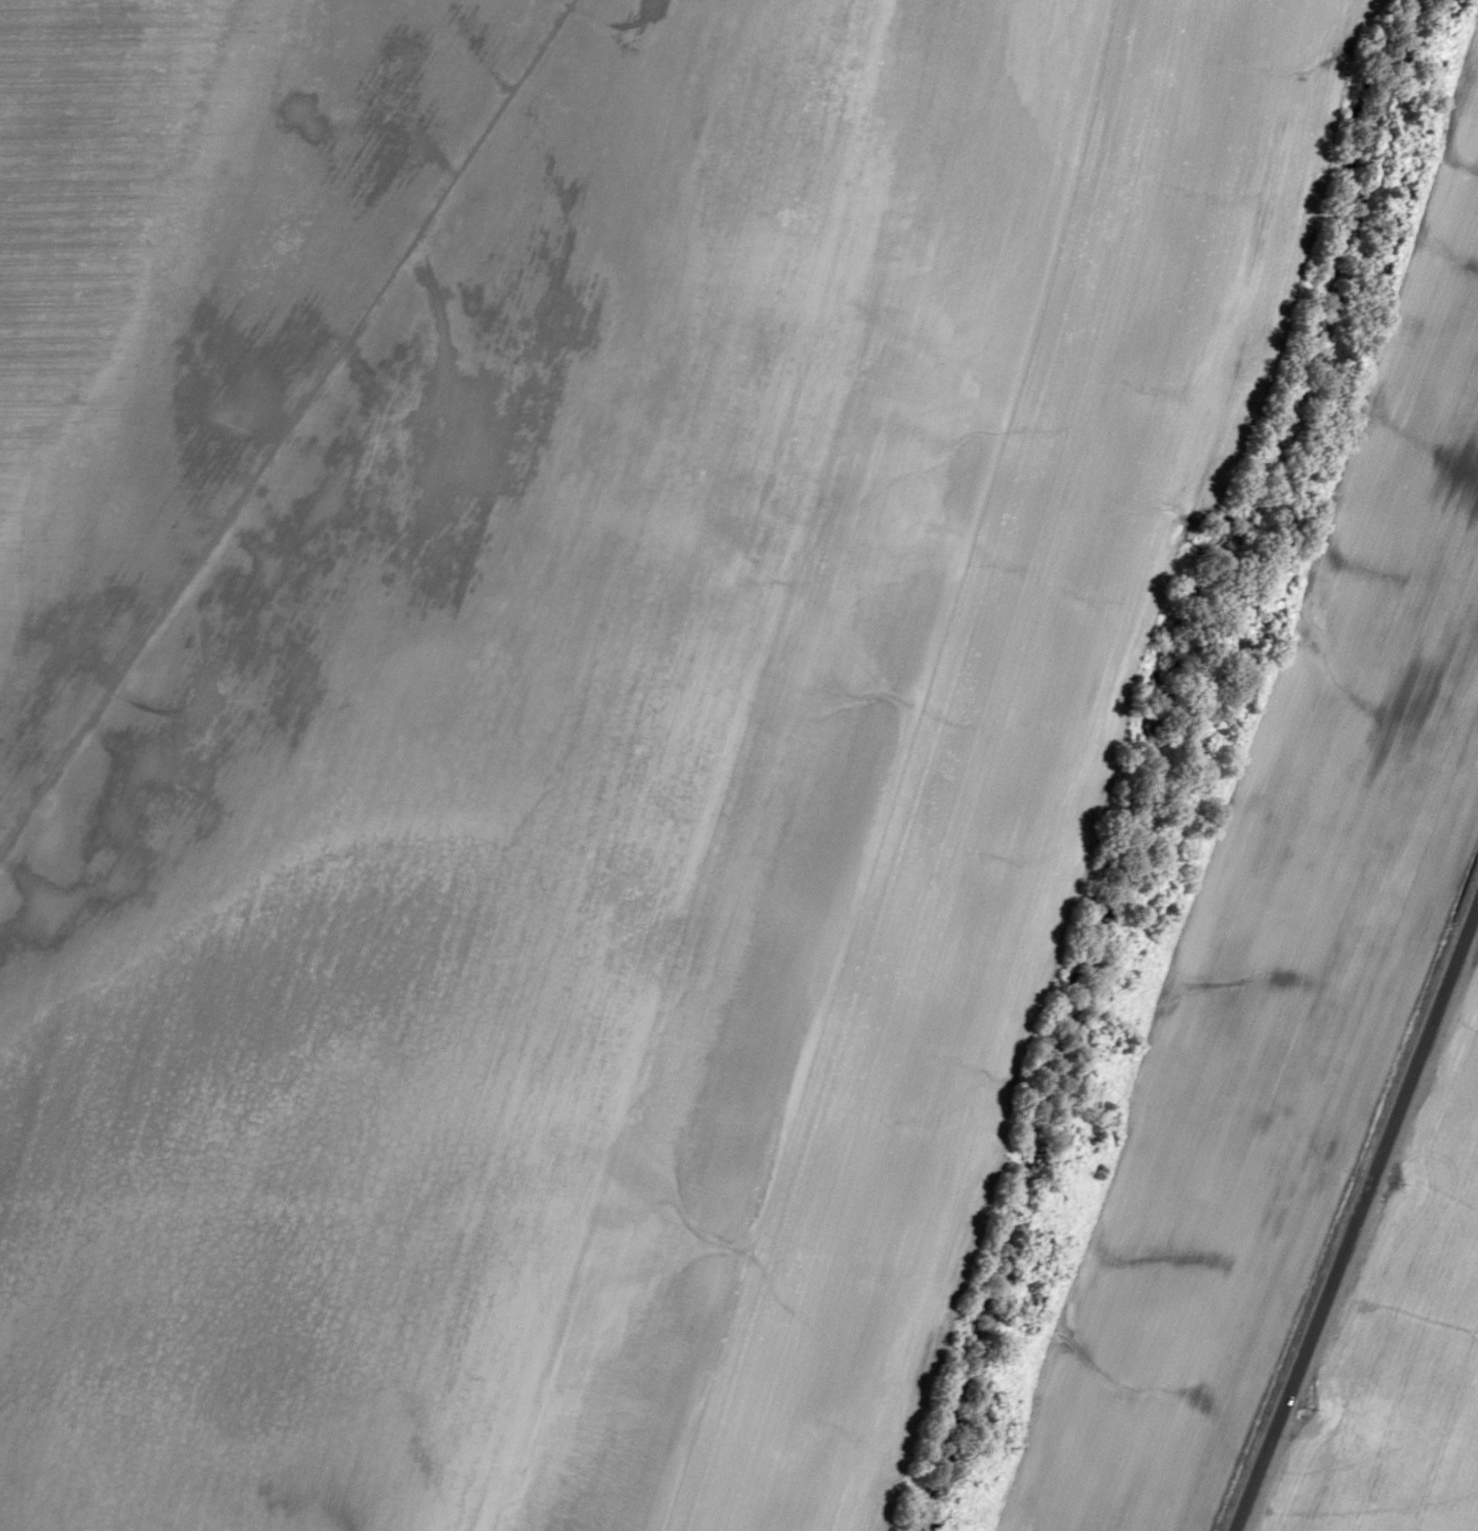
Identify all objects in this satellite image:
road: (1357, 1218)

